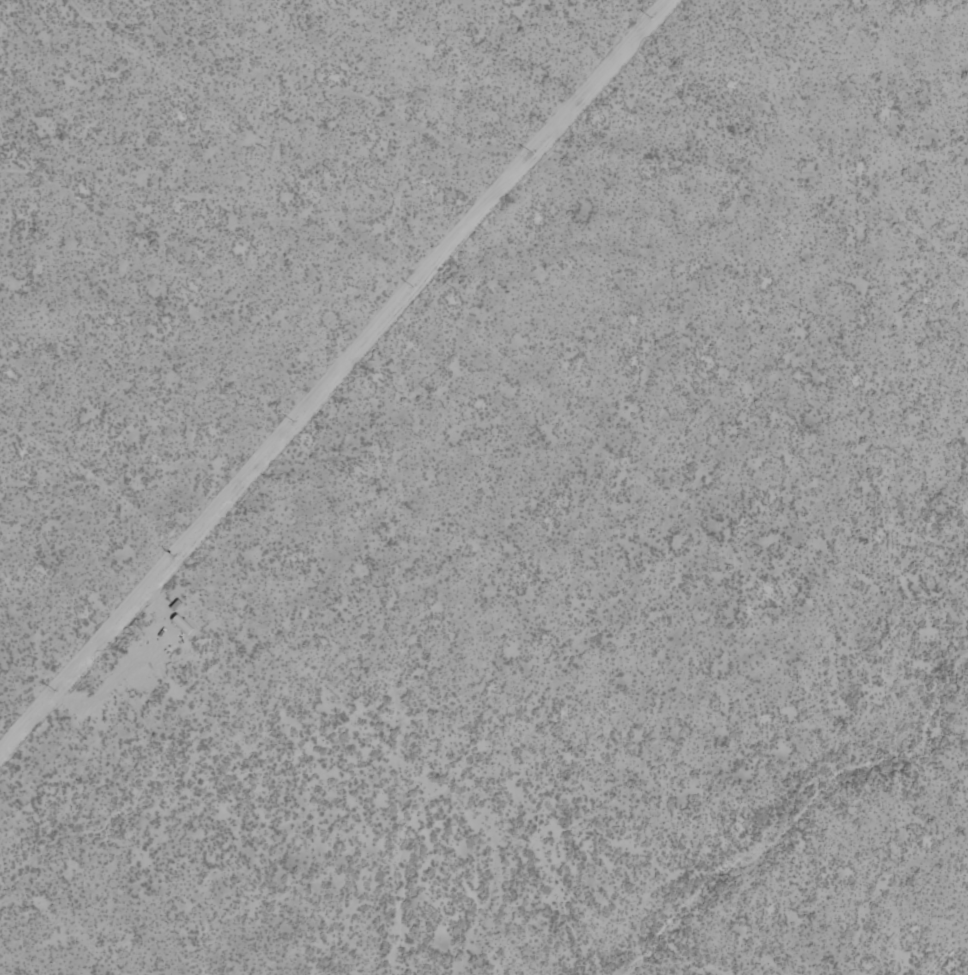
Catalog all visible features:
road: (925, 927)

